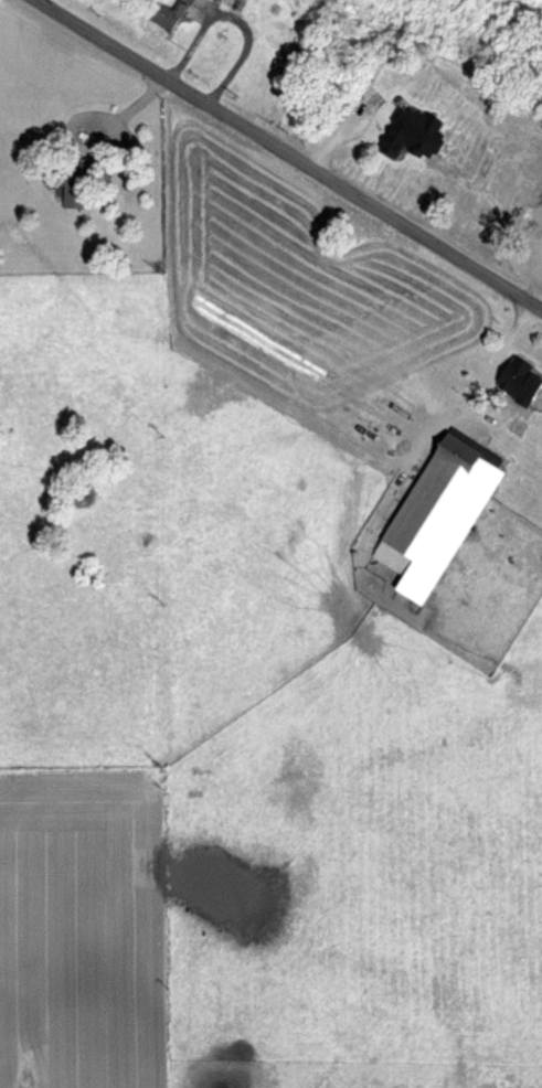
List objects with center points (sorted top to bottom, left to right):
building: (231, 2)
building: (167, 13)
road: (235, 15)
road: (98, 143)
road: (289, 154)
building: (76, 180)
crop: (534, 263)
road: (492, 354)
building: (518, 374)
building: (379, 420)
building: (435, 509)
crop: (170, 542)

